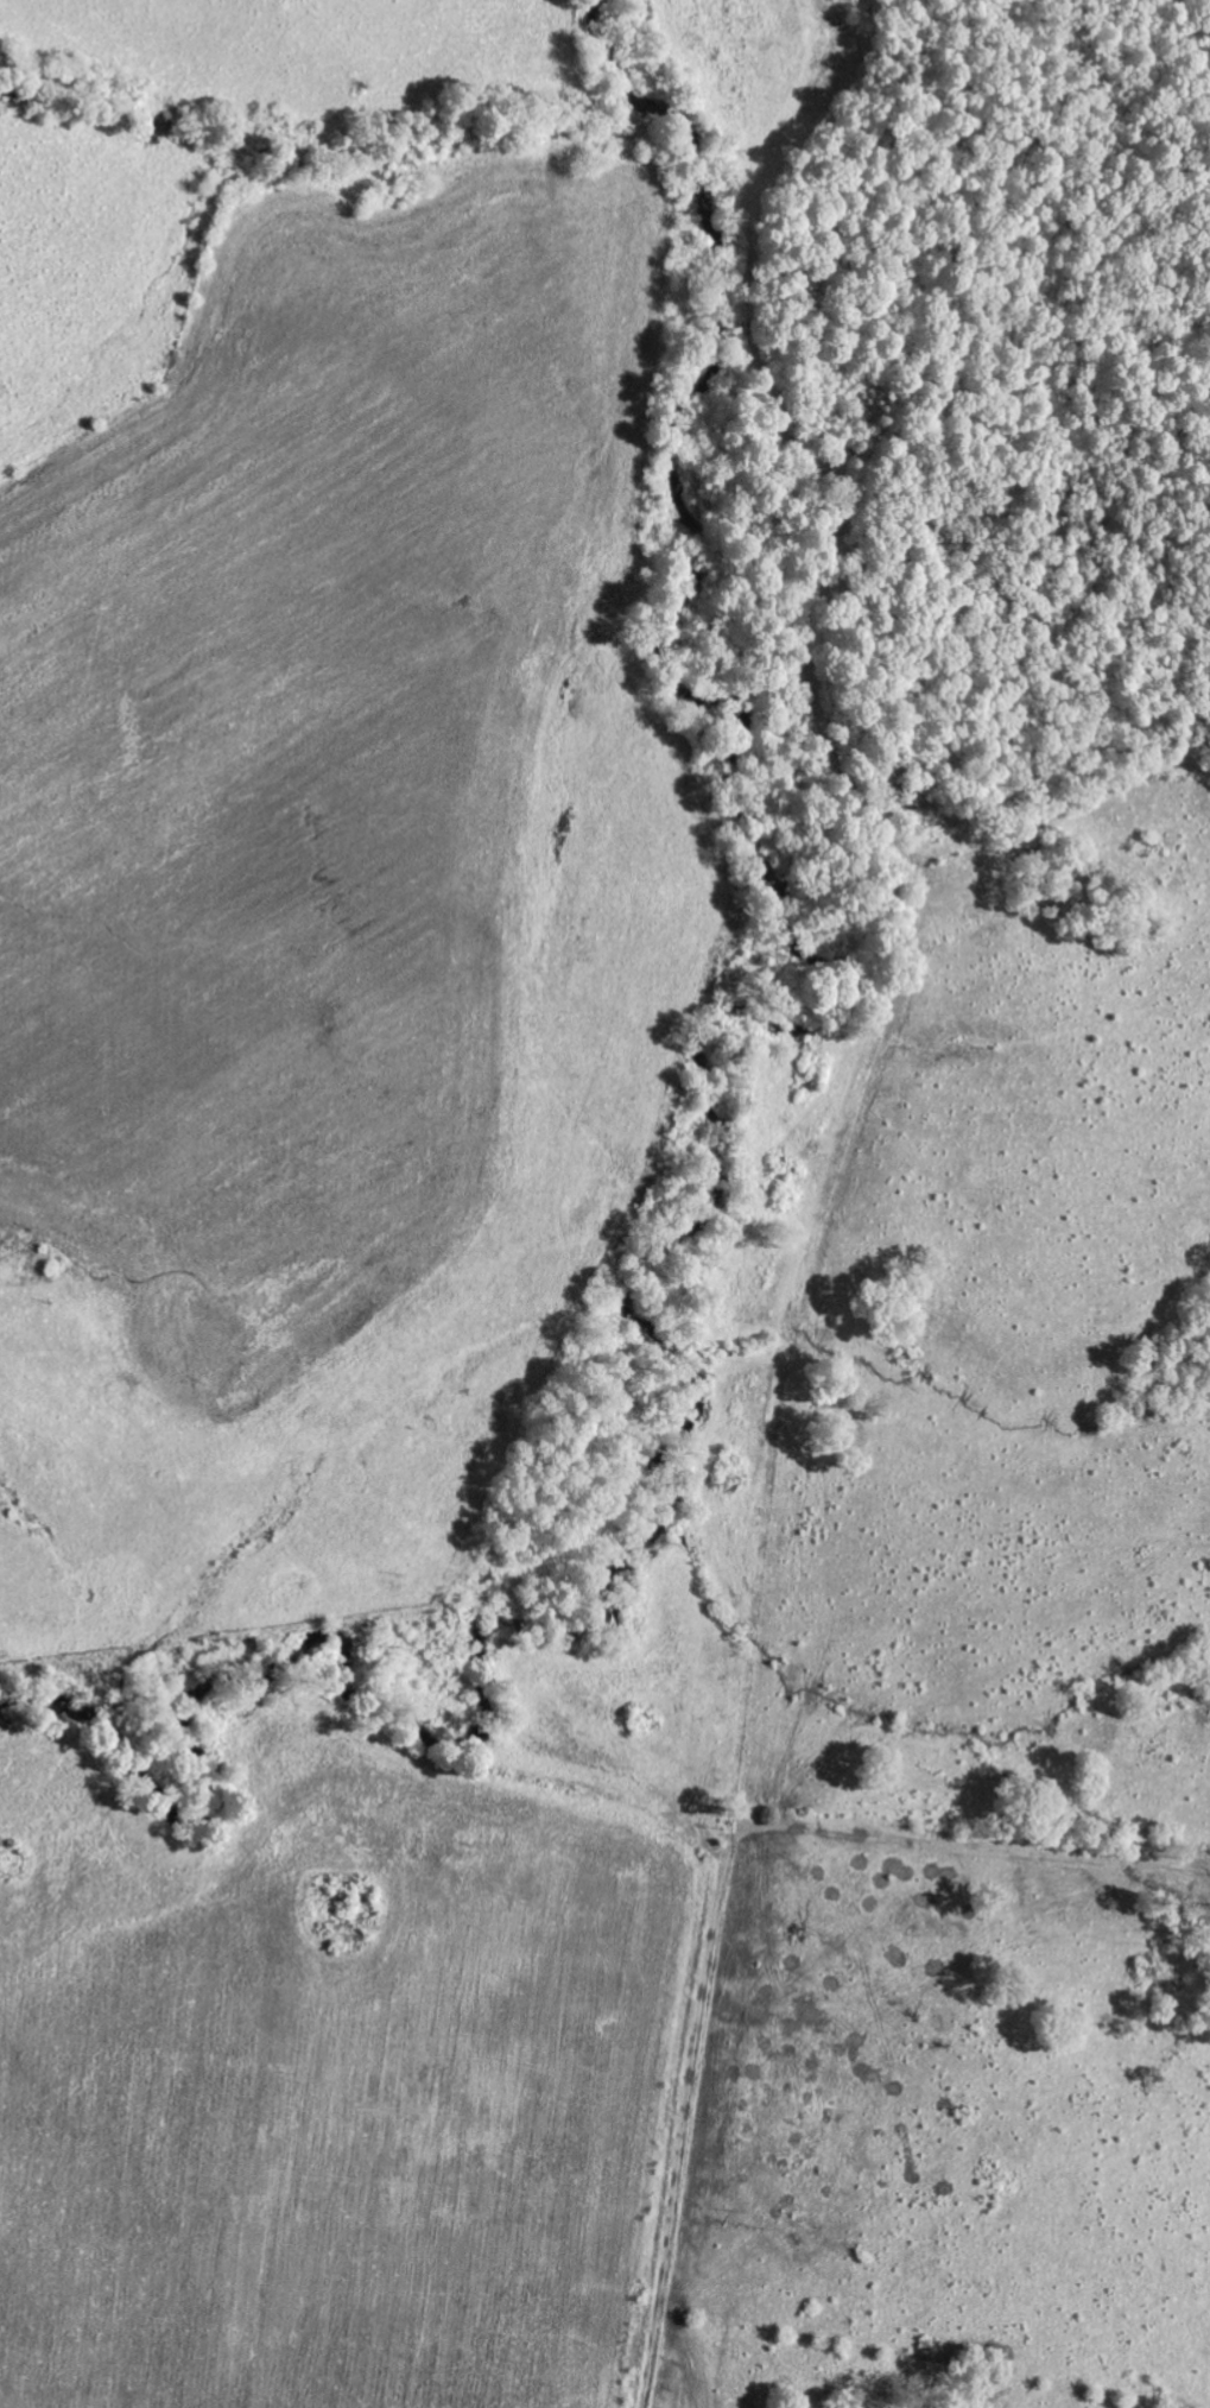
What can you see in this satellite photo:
road: (721, 1885)

